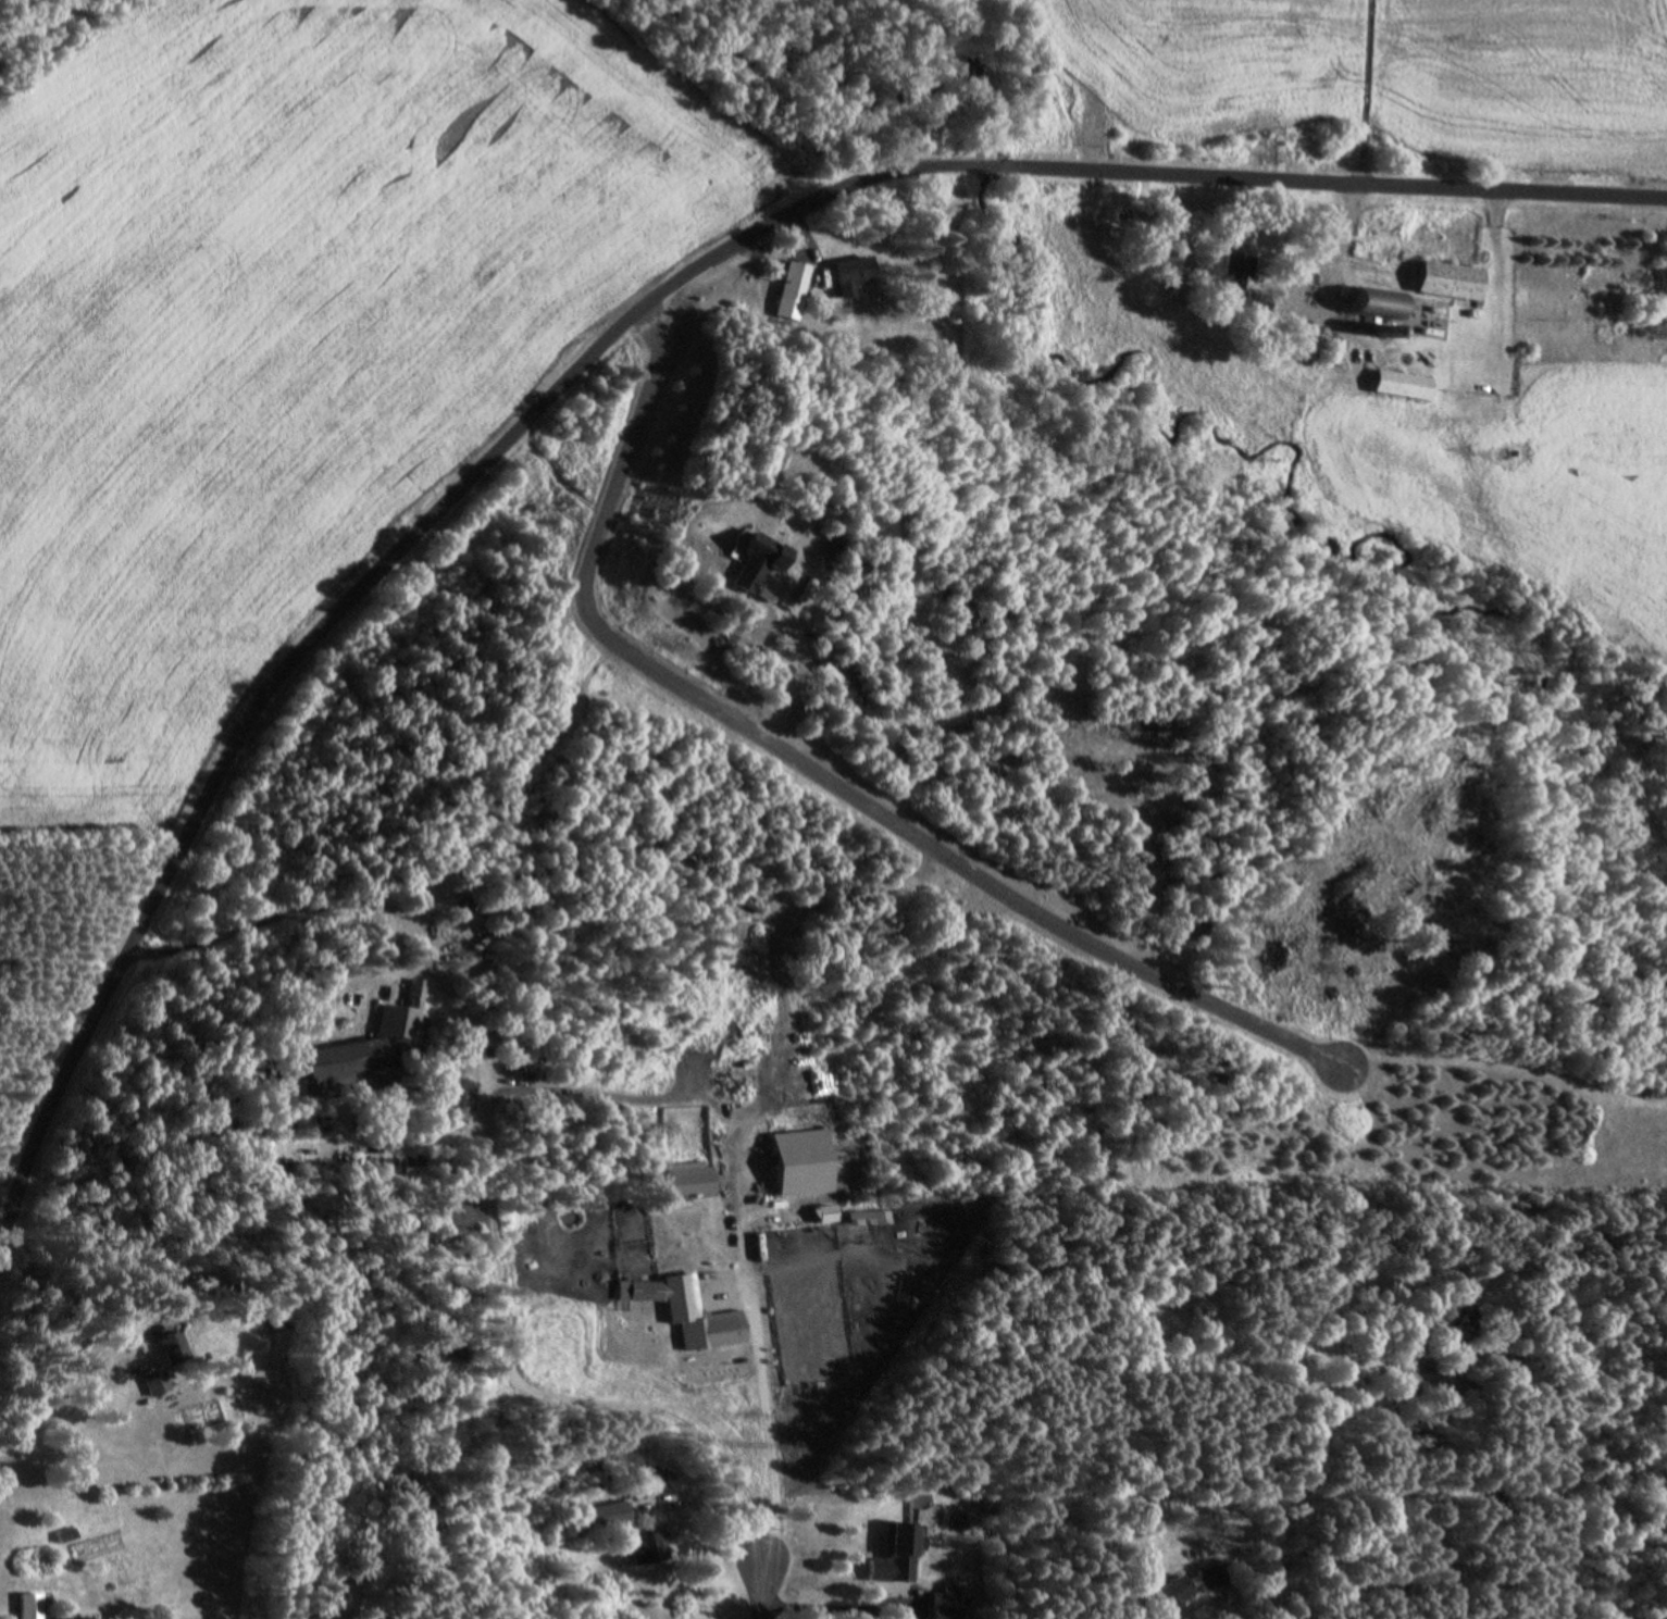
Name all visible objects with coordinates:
building: (1167, 261)
building: (1239, 270)
building: (856, 272)
building: (1452, 279)
building: (1663, 281)
road: (679, 282)
building: (797, 289)
building: (1303, 341)
building: (1338, 350)
building: (1405, 383)
road: (820, 775)
building: (395, 1022)
building: (320, 1059)
road: (30, 1144)
building: (636, 1290)
building: (1456, 1320)
building: (160, 1344)
building: (1494, 1355)
building: (147, 1382)
building: (600, 1515)
building: (644, 1544)
building: (894, 1548)
building: (1179, 1587)
road: (759, 1589)
building: (20, 1605)

